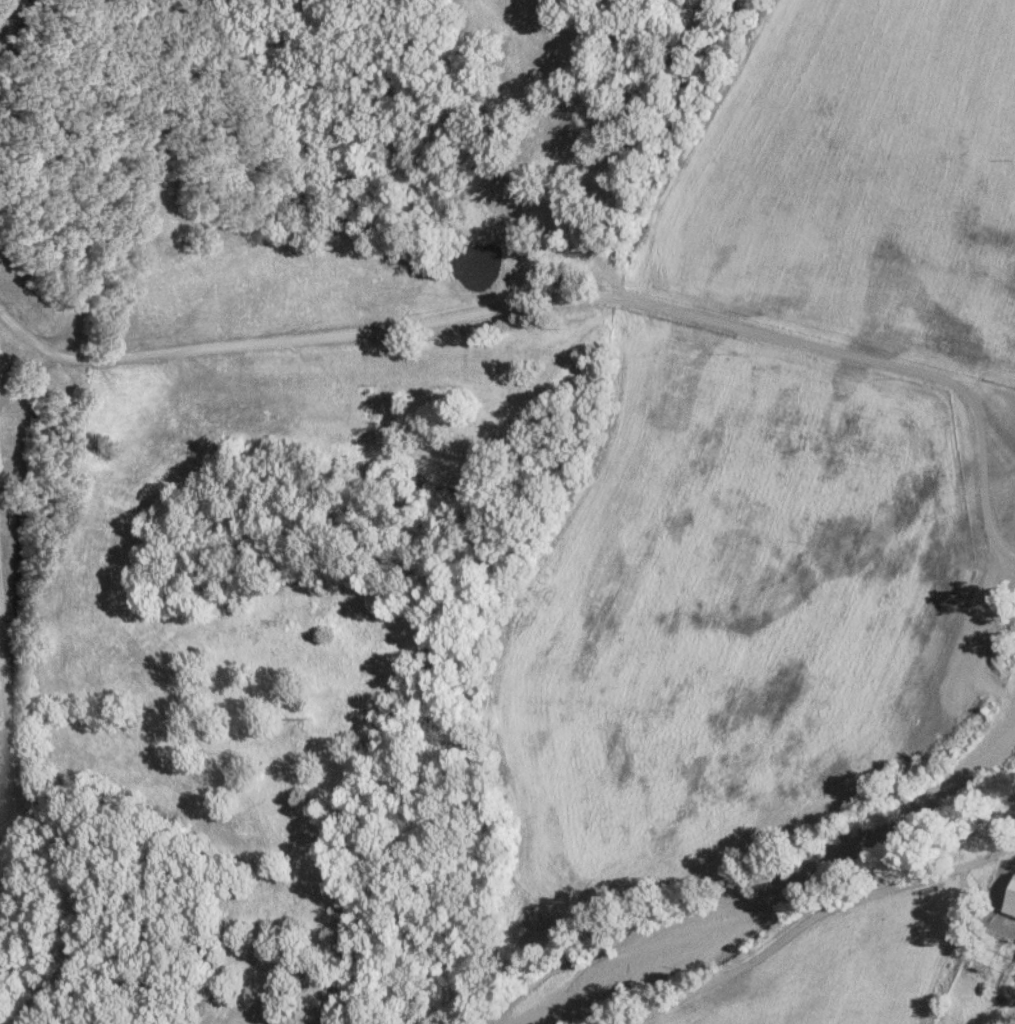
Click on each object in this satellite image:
road: (517, 366)
road: (25, 787)
building: (1010, 897)

